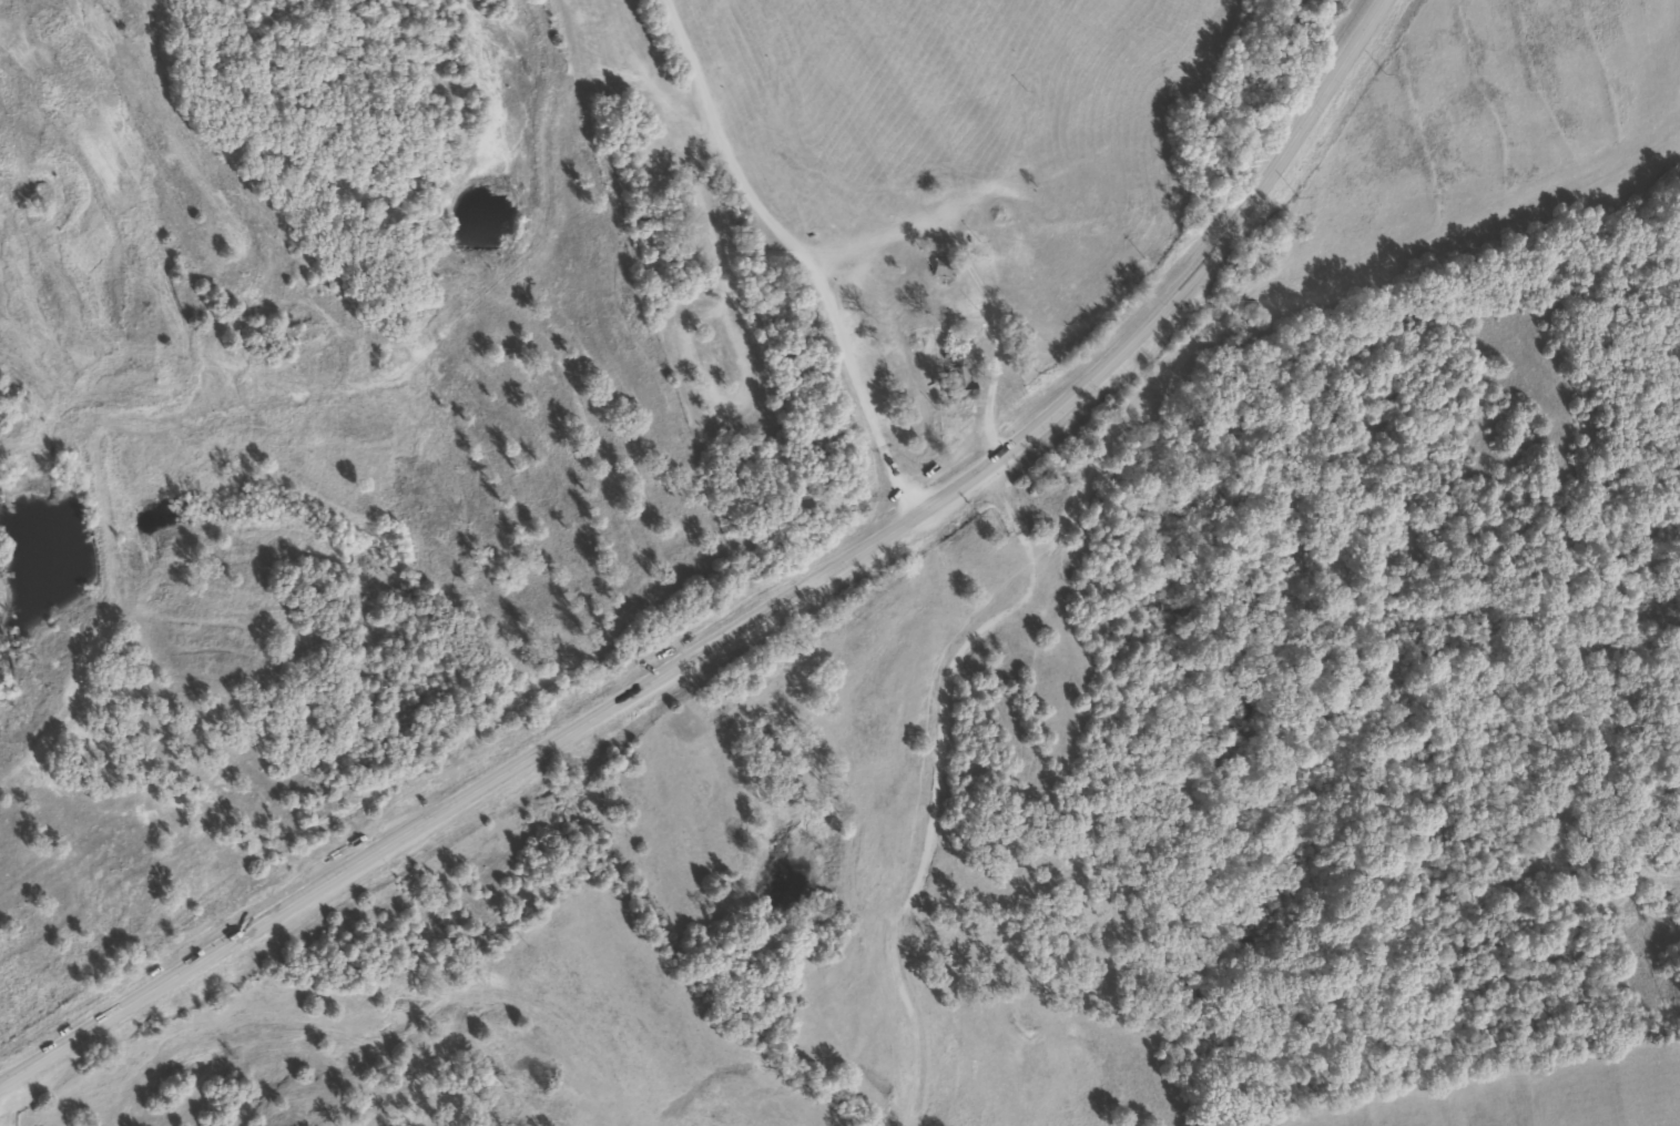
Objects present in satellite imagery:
building: (955, 382)
road: (1596, 456)
road: (755, 615)

